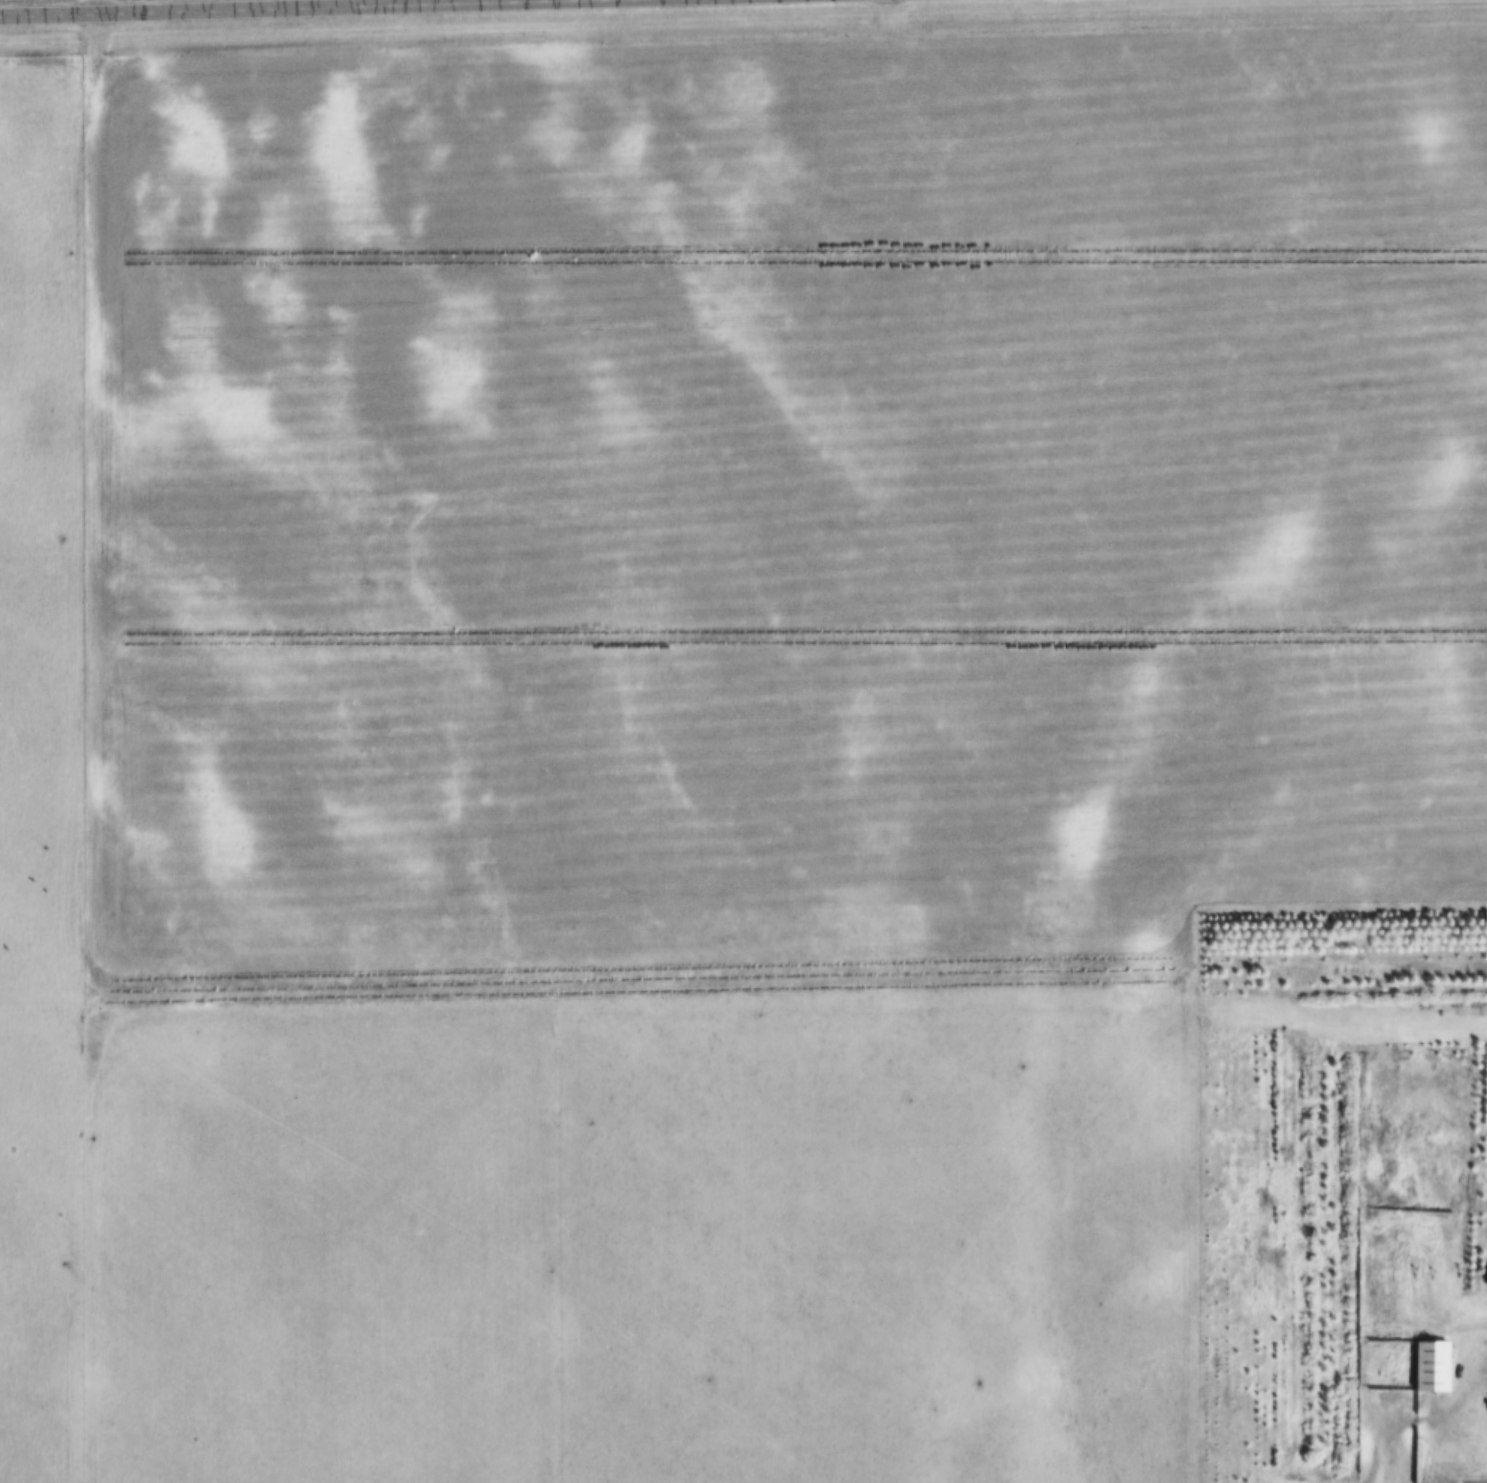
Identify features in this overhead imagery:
road: (245, 6)
building: (1485, 1279)
building: (1431, 1367)
road: (1464, 1405)

